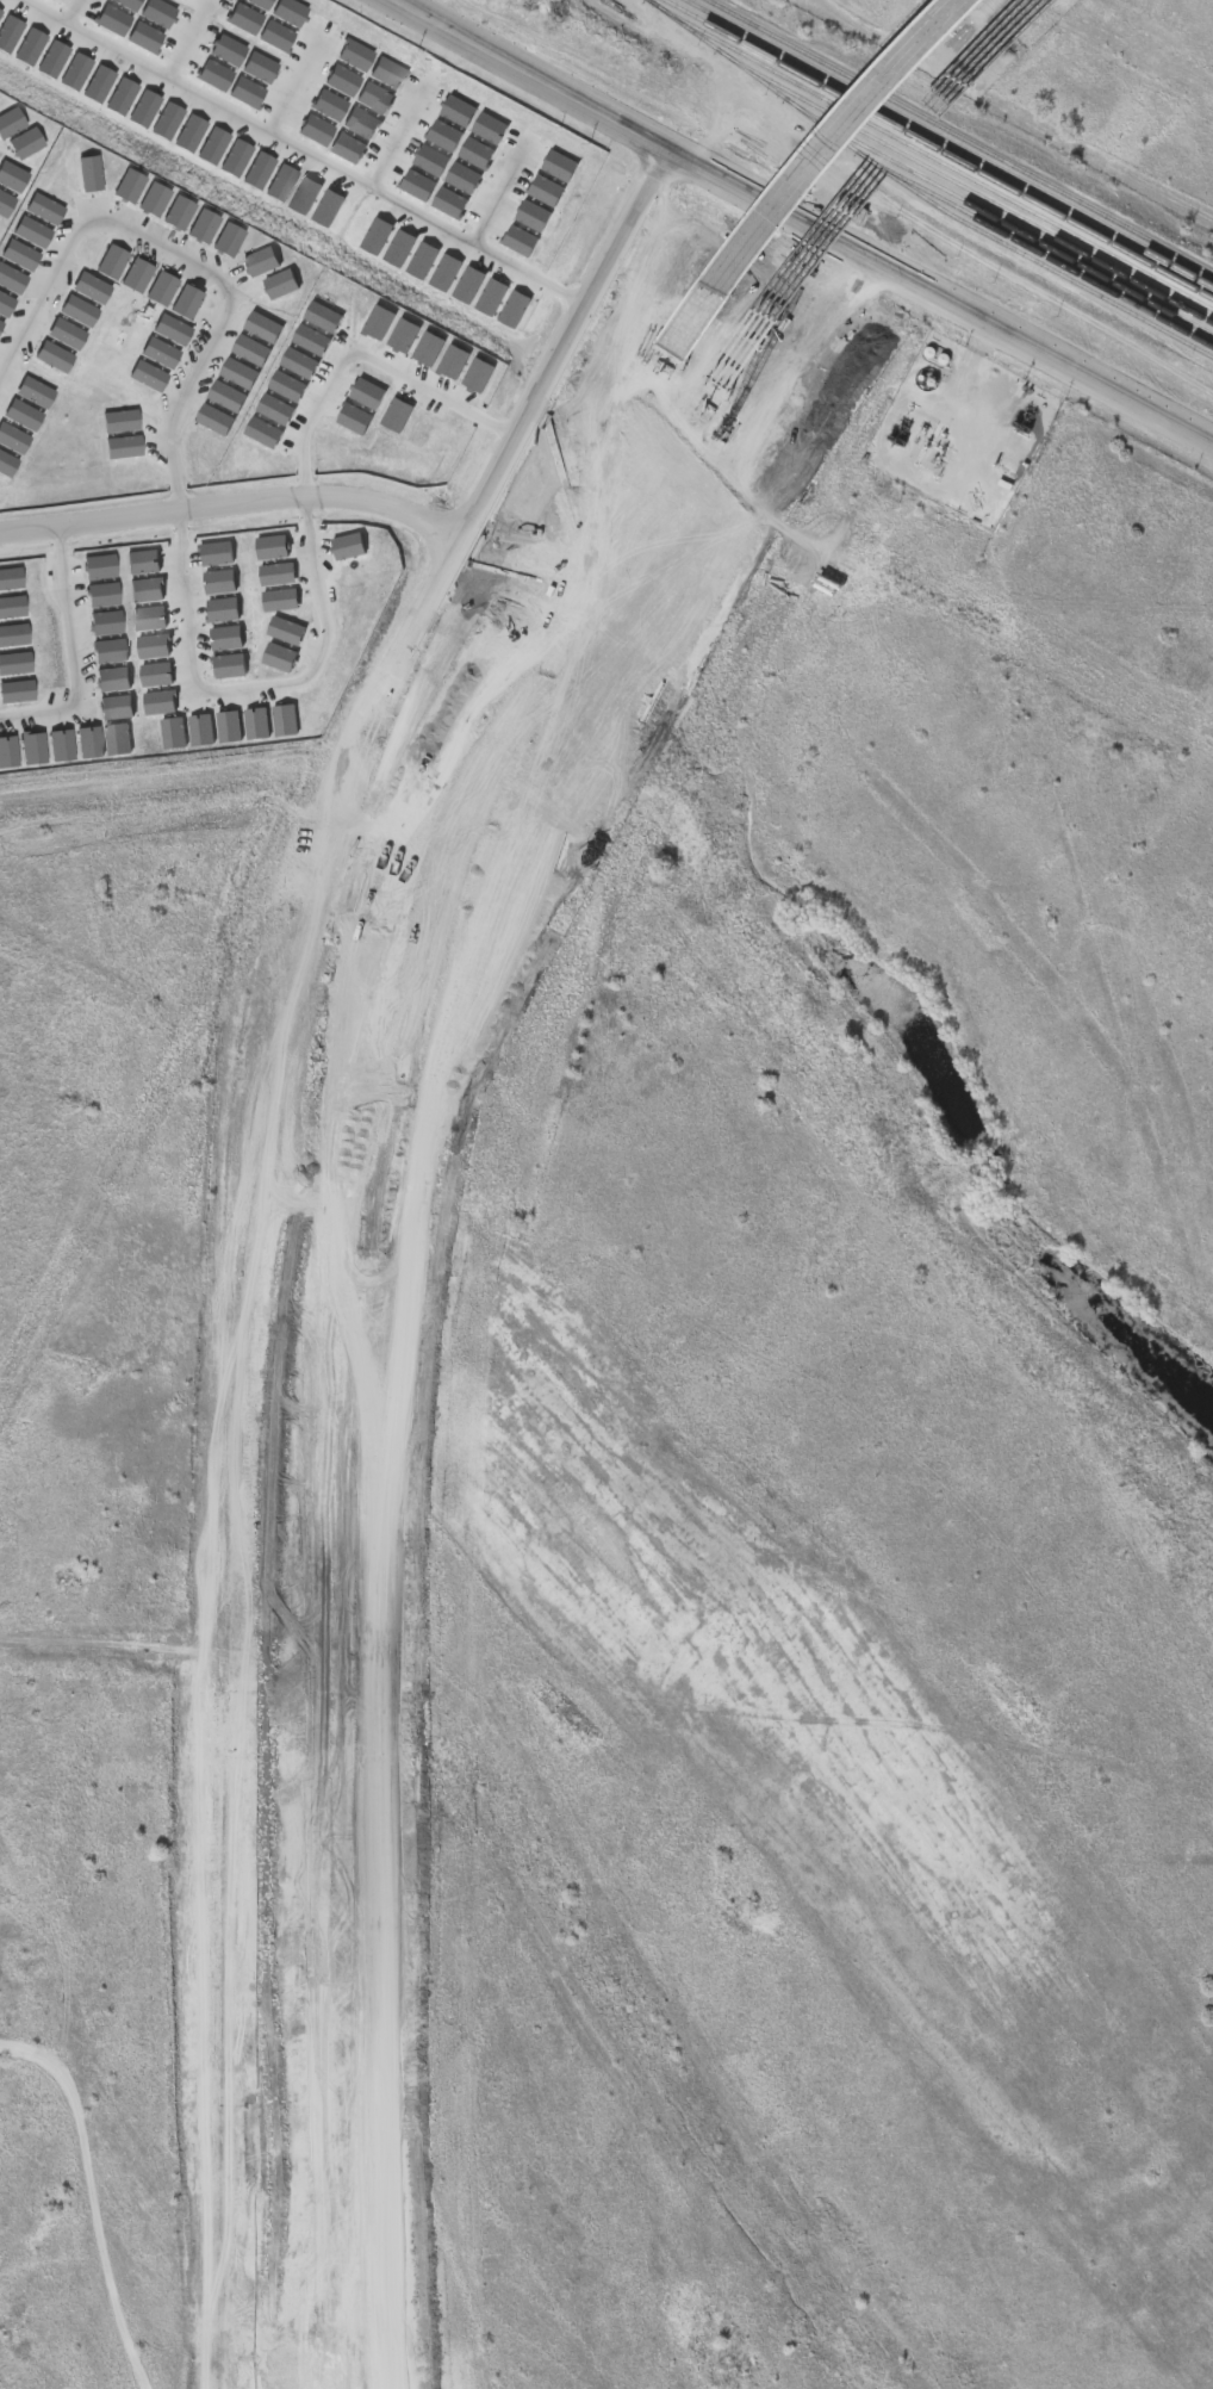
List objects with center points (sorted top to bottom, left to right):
road: (74, 13)
road: (187, 41)
road: (297, 81)
road: (398, 137)
railway: (960, 137)
railway: (951, 141)
railway: (940, 147)
road: (299, 154)
railway: (933, 154)
railway: (978, 191)
railway: (921, 193)
road: (502, 194)
road: (809, 215)
railway: (1004, 218)
railway: (1045, 253)
road: (185, 261)
road: (541, 380)
building: (1004, 380)
building: (913, 426)
road: (232, 502)
road: (319, 565)
road: (76, 658)
road: (85, 2196)

